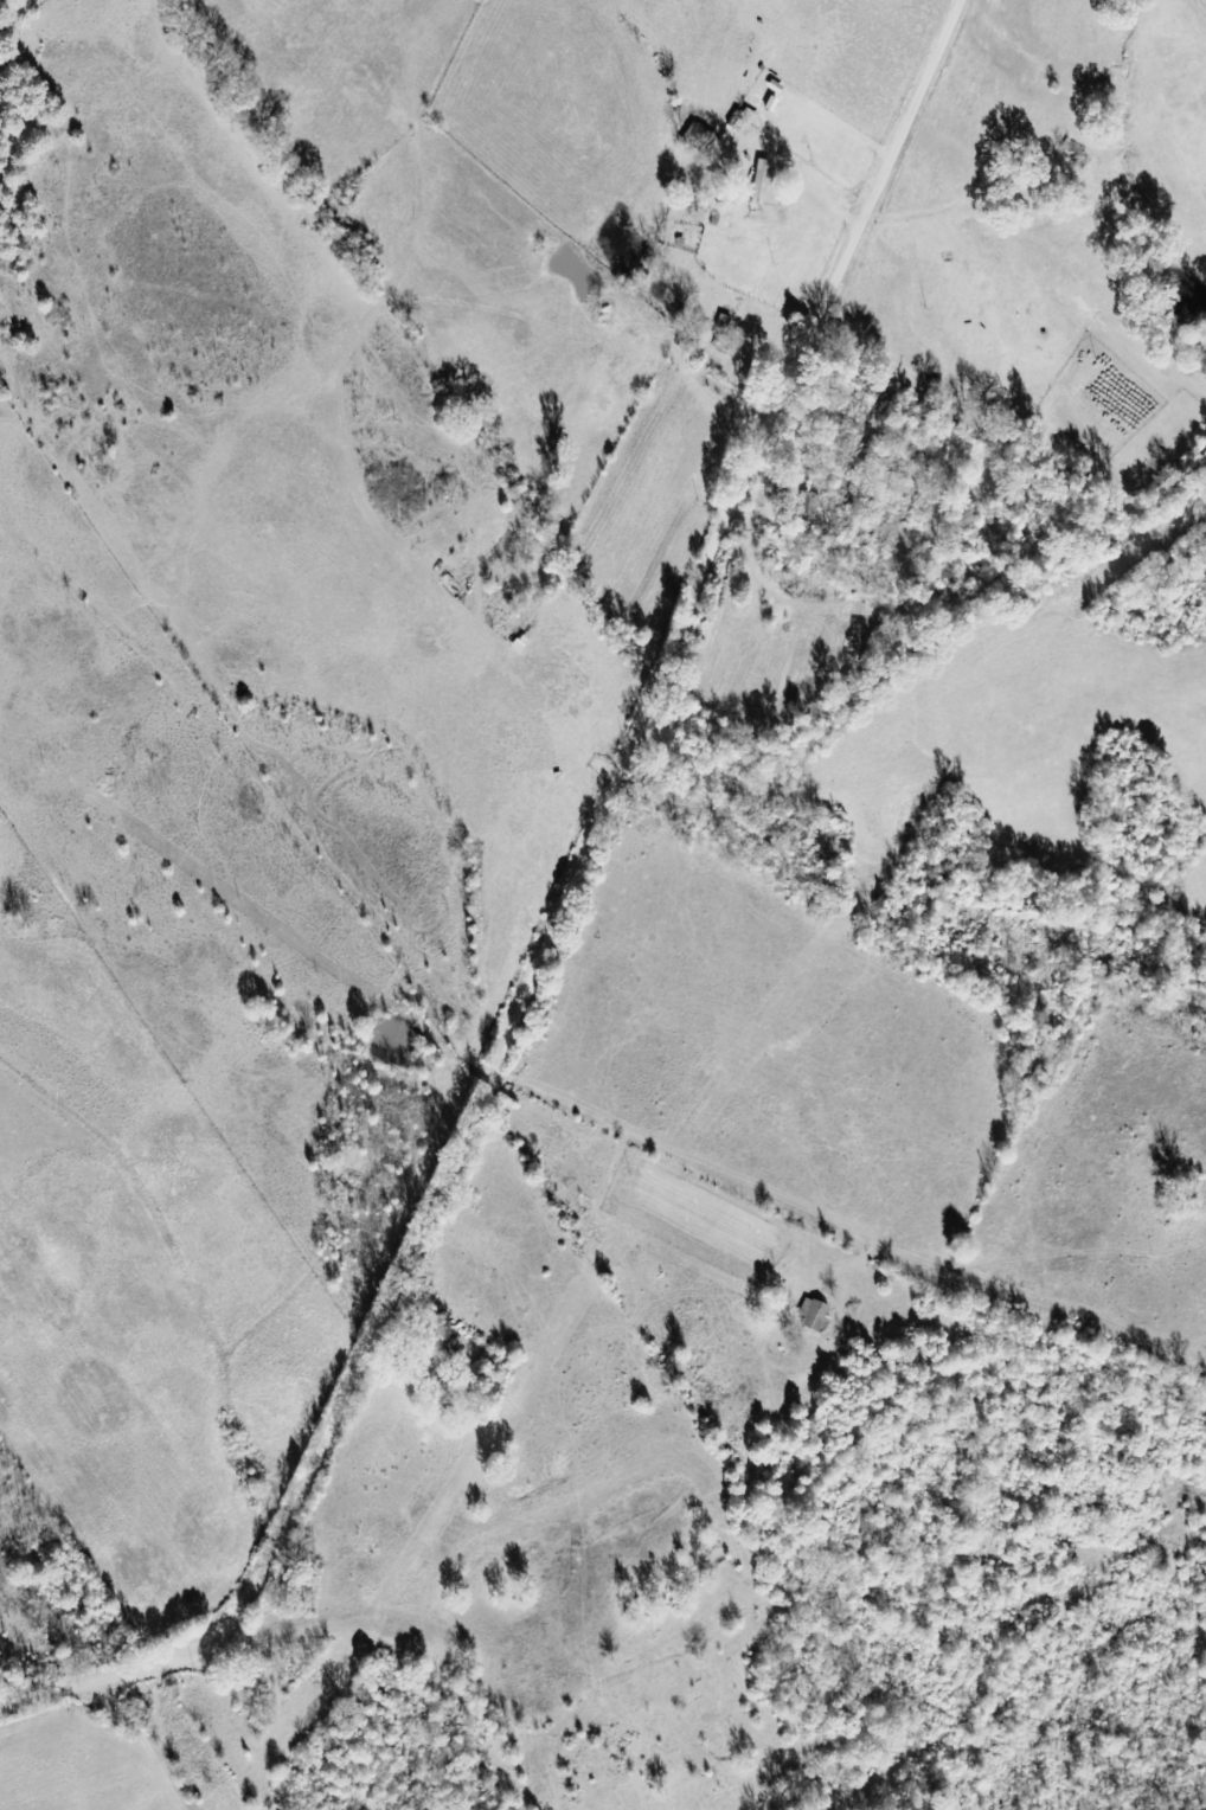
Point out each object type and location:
road: (521, 906)

